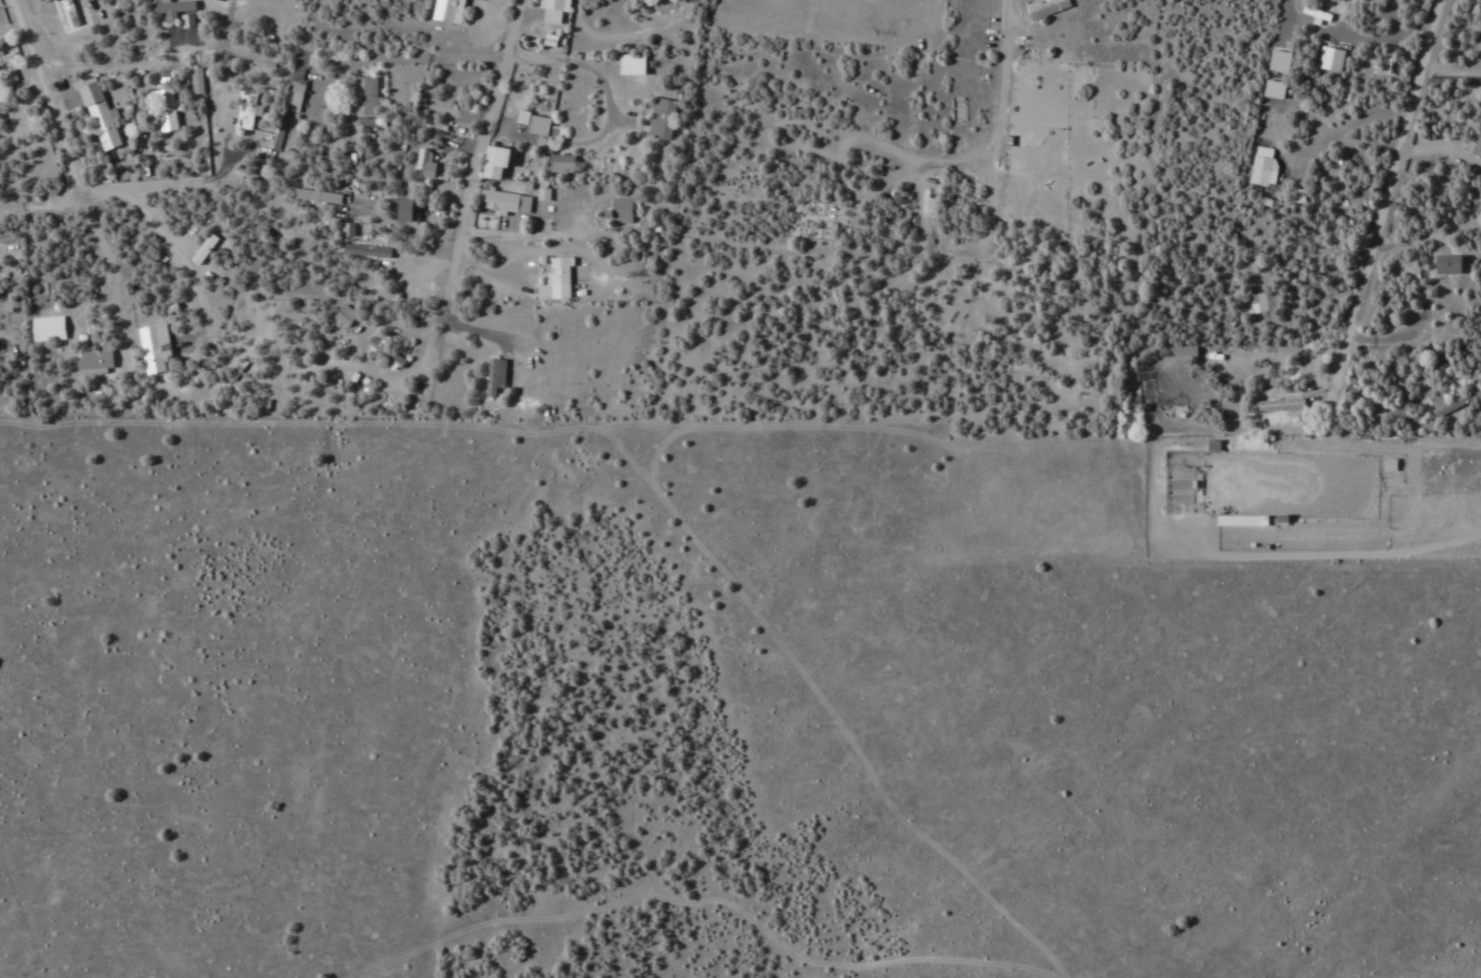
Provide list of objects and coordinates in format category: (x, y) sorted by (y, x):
building: (173, 8)
building: (1047, 8)
building: (448, 10)
building: (553, 10)
building: (1314, 13)
building: (69, 15)
road: (9, 28)
building: (7, 58)
road: (500, 61)
building: (1274, 61)
road: (145, 64)
building: (635, 64)
building: (11, 75)
building: (197, 80)
road: (1000, 82)
building: (1270, 89)
building: (367, 95)
road: (45, 99)
building: (167, 110)
building: (247, 110)
building: (101, 116)
building: (664, 118)
building: (541, 125)
building: (1475, 146)
road: (472, 156)
building: (500, 161)
building: (422, 163)
building: (564, 163)
building: (1259, 170)
building: (319, 196)
road: (1384, 197)
road: (83, 198)
building: (502, 200)
building: (409, 210)
building: (622, 210)
building: (6, 235)
building: (206, 248)
building: (1441, 265)
building: (374, 270)
building: (562, 277)
building: (1262, 302)
building: (346, 315)
building: (50, 328)
building: (157, 347)
building: (97, 359)
building: (497, 377)
building: (1159, 390)
building: (1446, 402)
building: (1276, 404)
building: (1386, 465)
park: (1287, 486)
building: (1178, 489)

